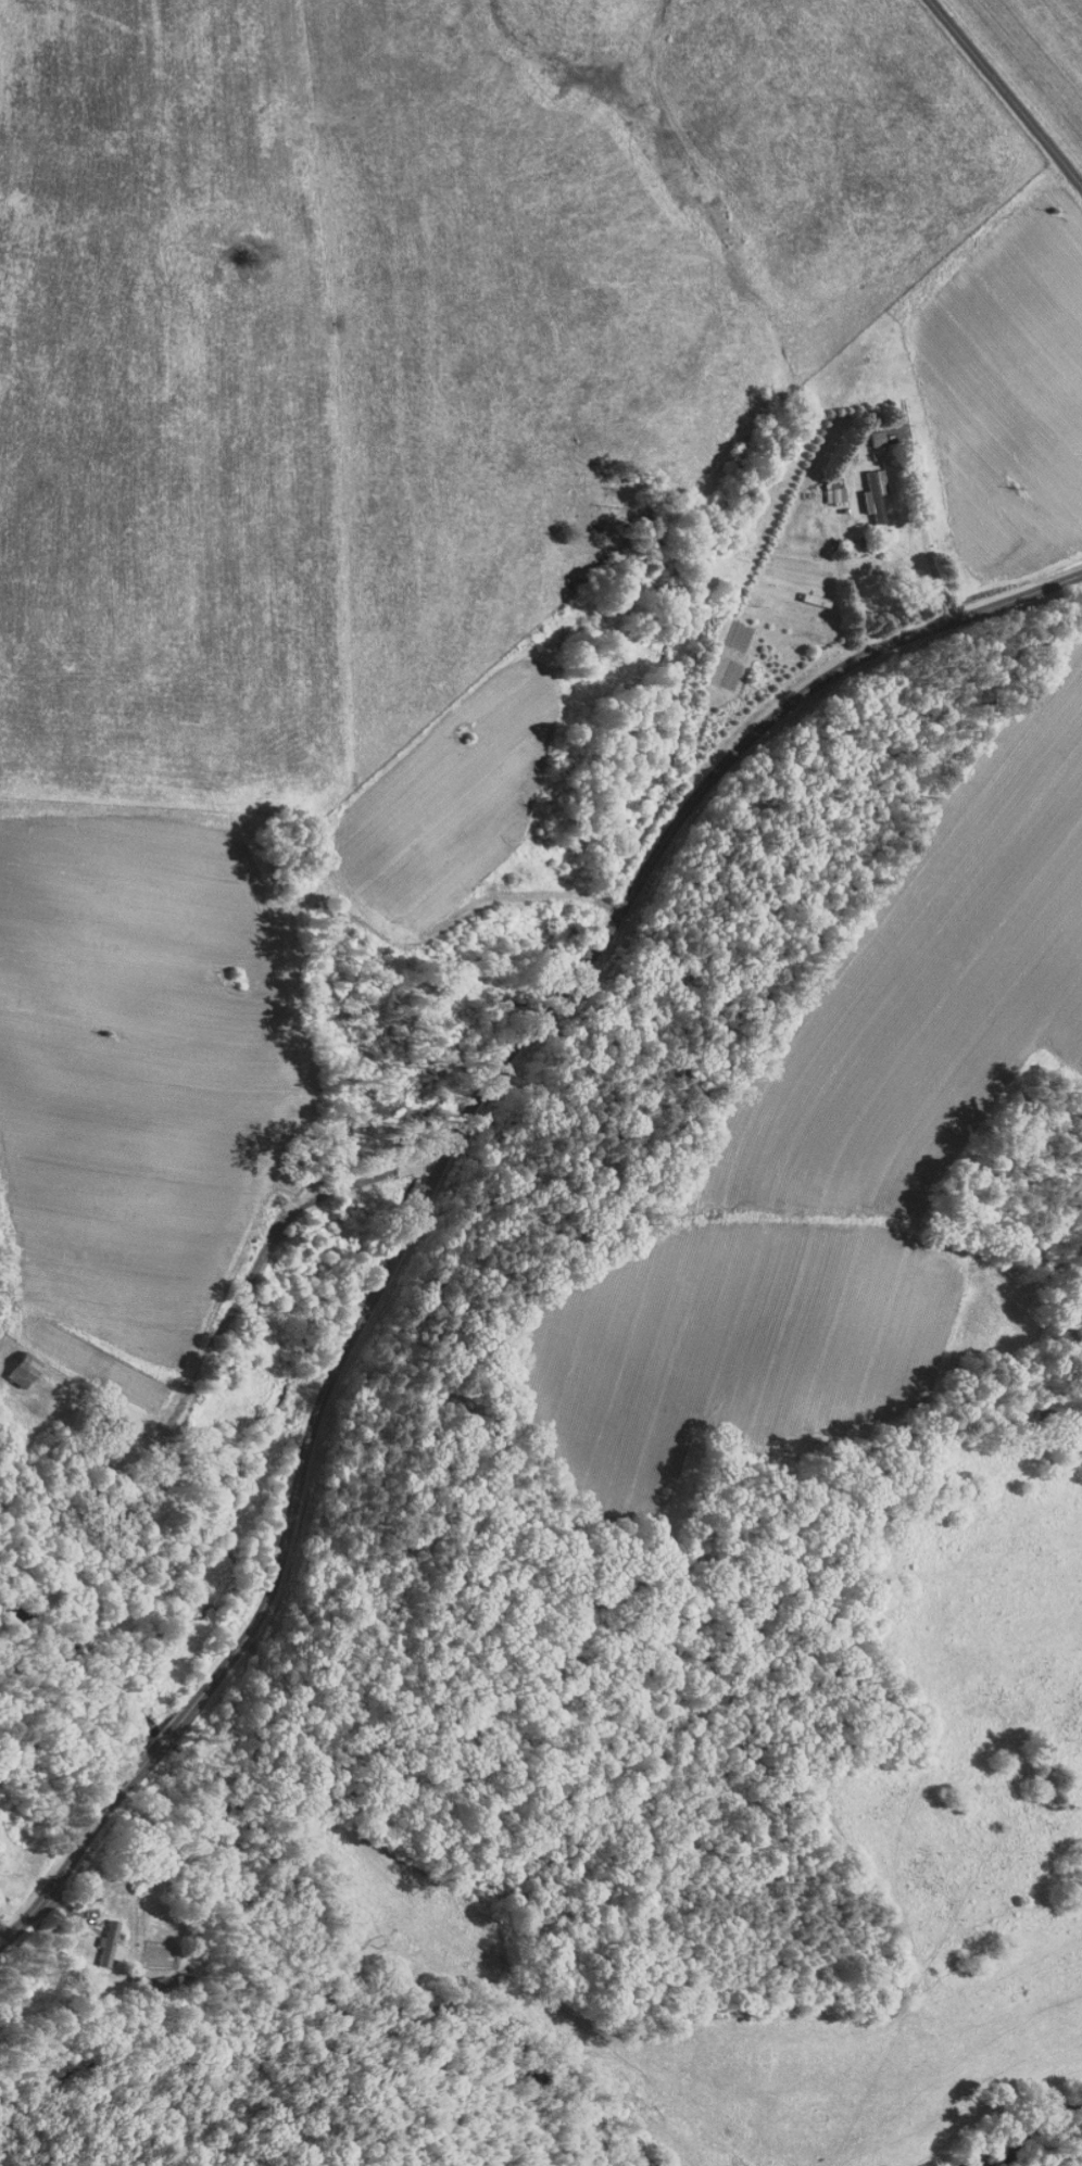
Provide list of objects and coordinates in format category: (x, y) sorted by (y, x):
road: (1006, 91)
building: (867, 430)
building: (863, 483)
building: (822, 484)
road: (493, 1185)
building: (15, 1364)
building: (99, 1937)

